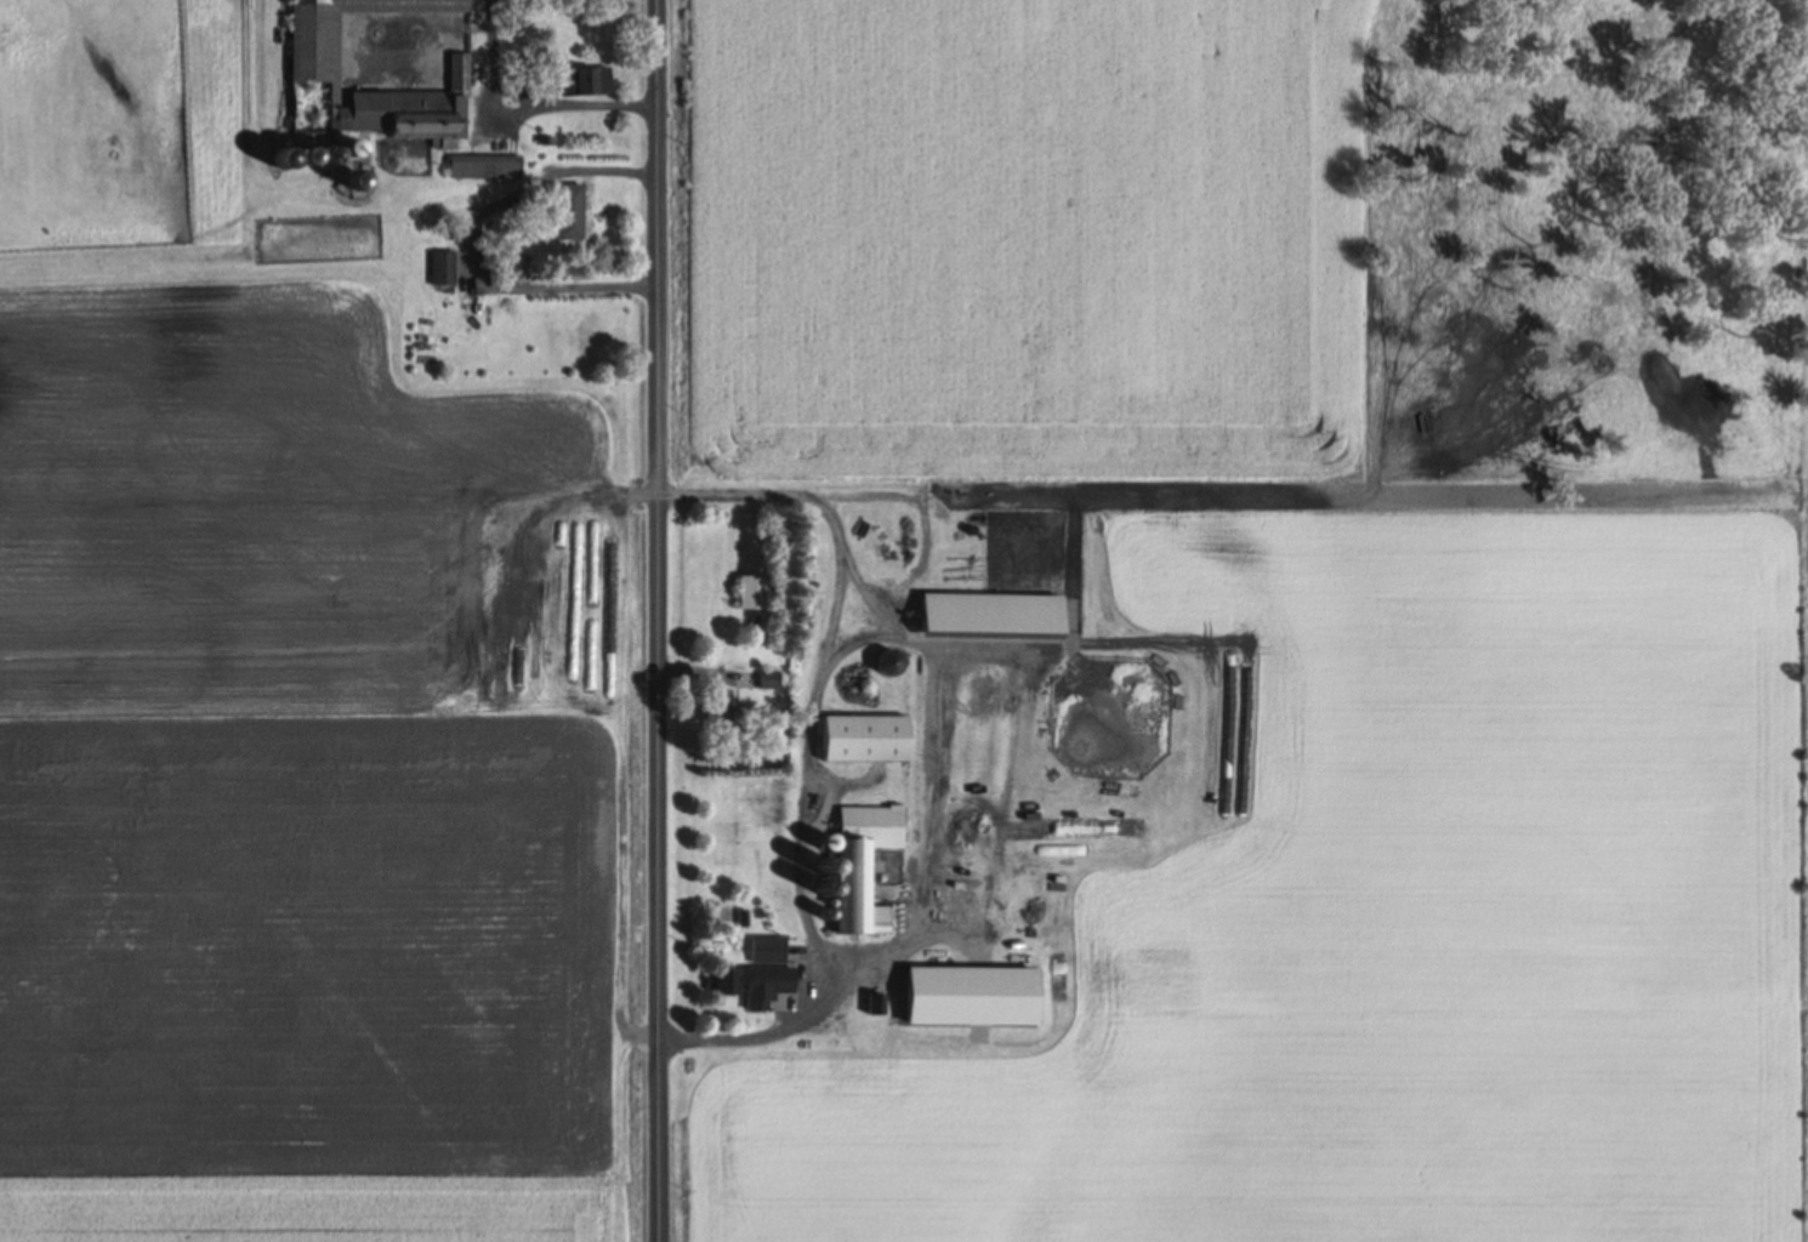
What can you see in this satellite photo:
building: (314, 70)
building: (584, 80)
building: (483, 166)
building: (567, 212)
building: (442, 268)
building: (880, 528)
building: (749, 591)
building: (989, 611)
road: (656, 620)
building: (602, 626)
building: (530, 654)
building: (888, 662)
building: (758, 679)
building: (718, 708)
building: (864, 737)
building: (863, 861)
building: (767, 947)
building: (728, 979)
building: (875, 995)

